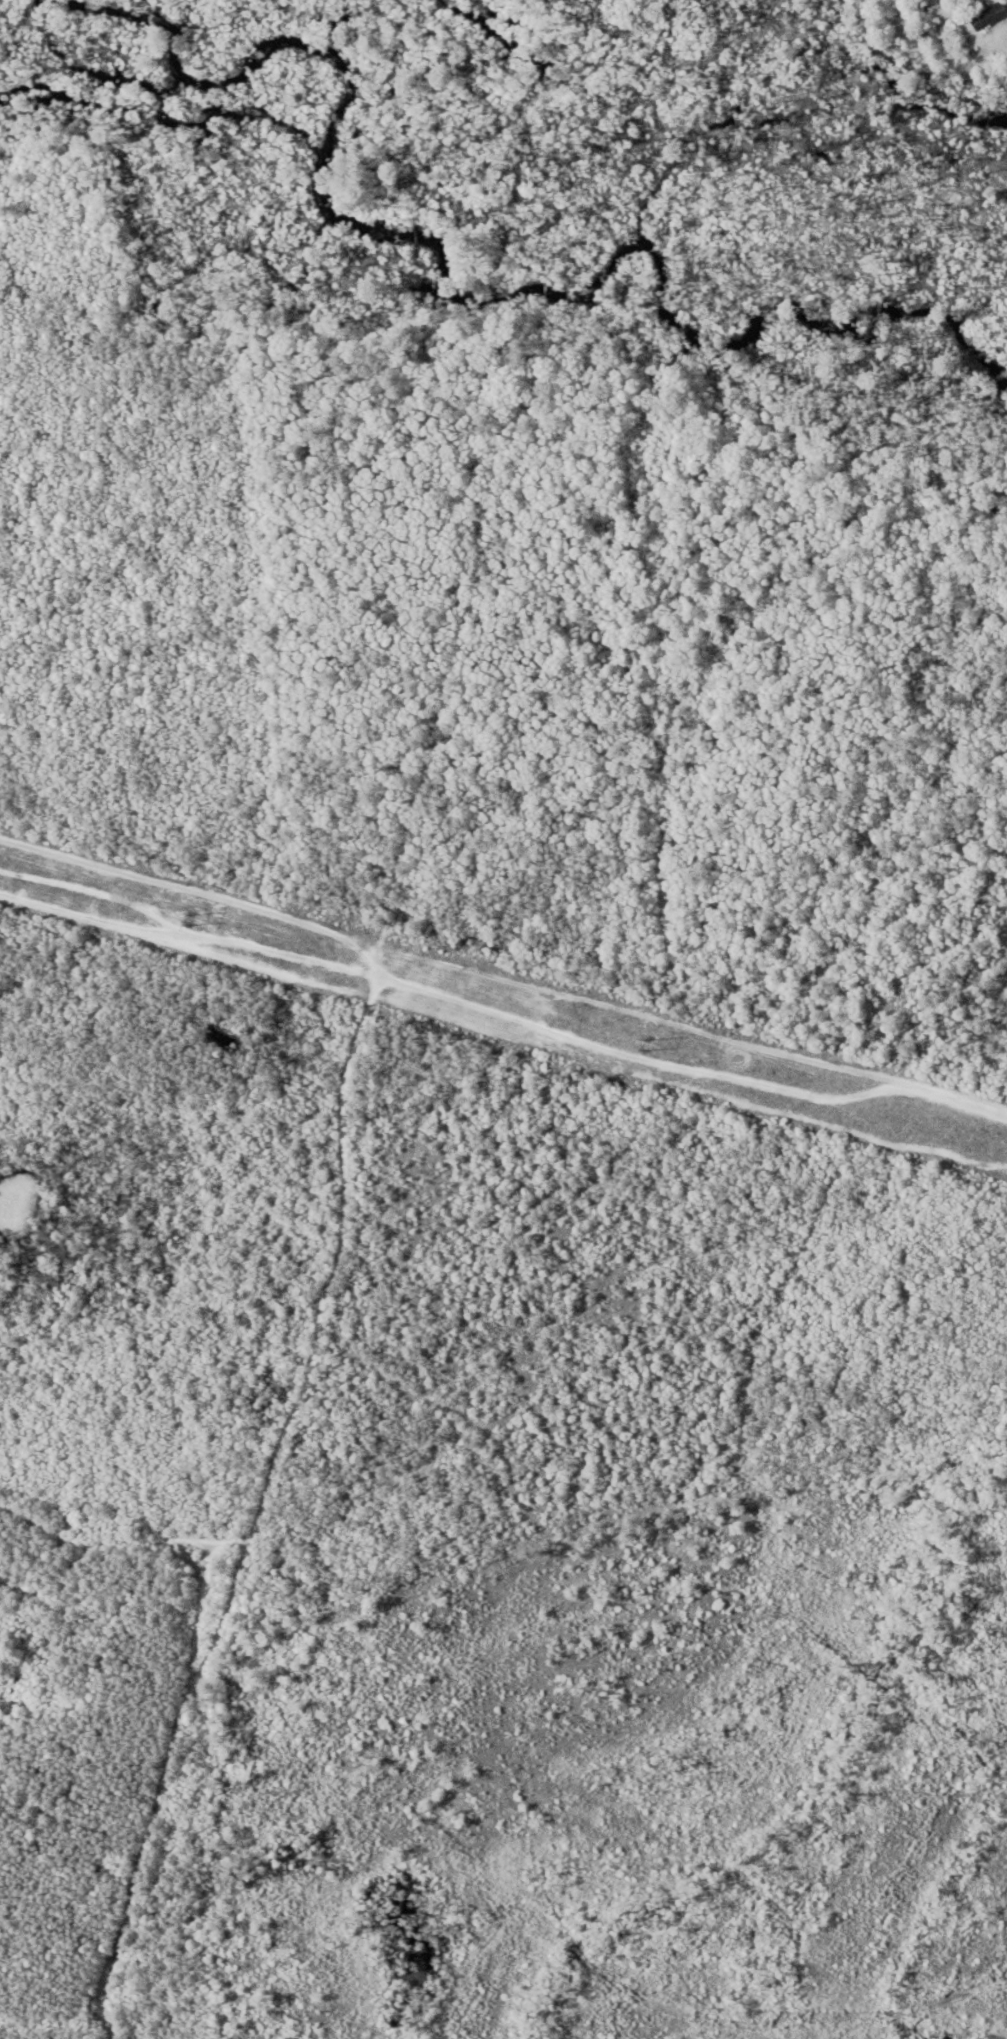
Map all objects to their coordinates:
power tower: (191, 919)
power tower: (647, 1044)
road: (105, 2017)

